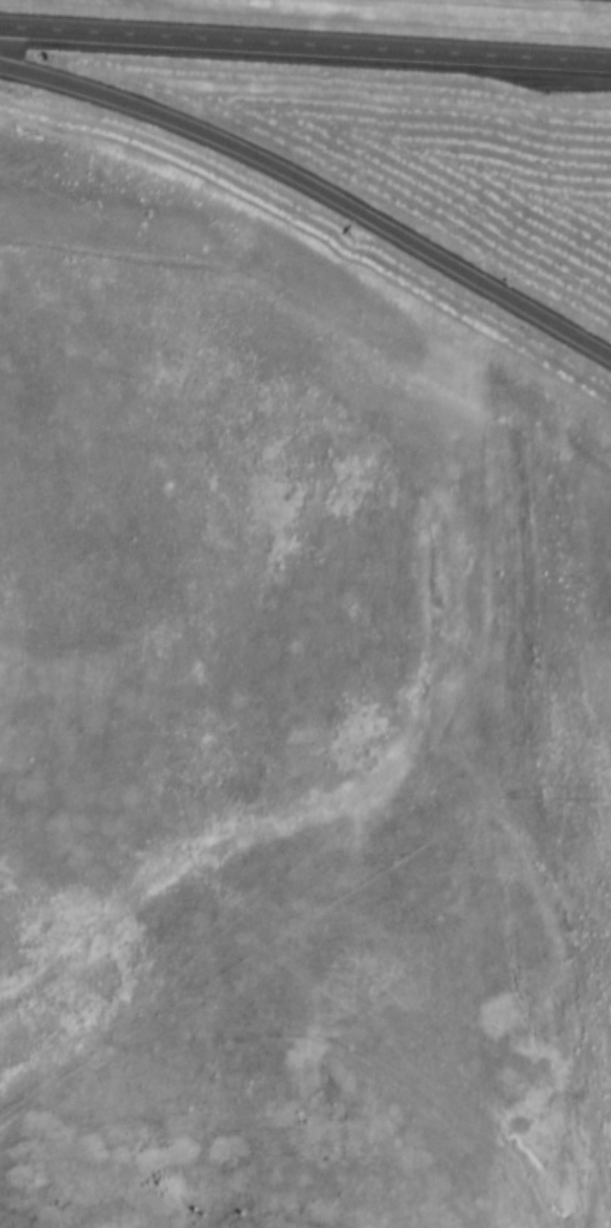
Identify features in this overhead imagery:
road: (304, 55)
road: (315, 200)

